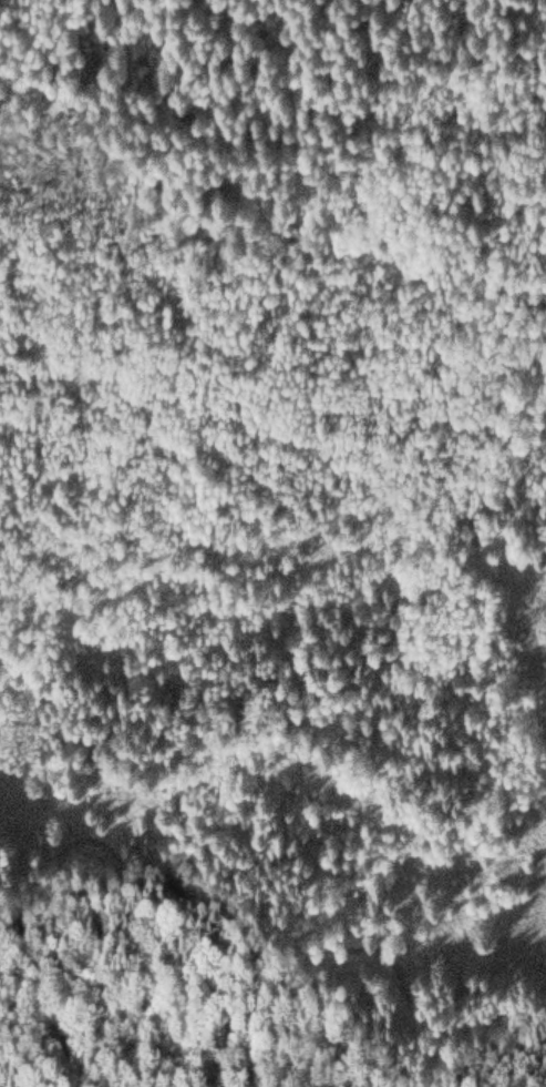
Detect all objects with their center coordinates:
road: (522, 11)
road: (14, 1084)

